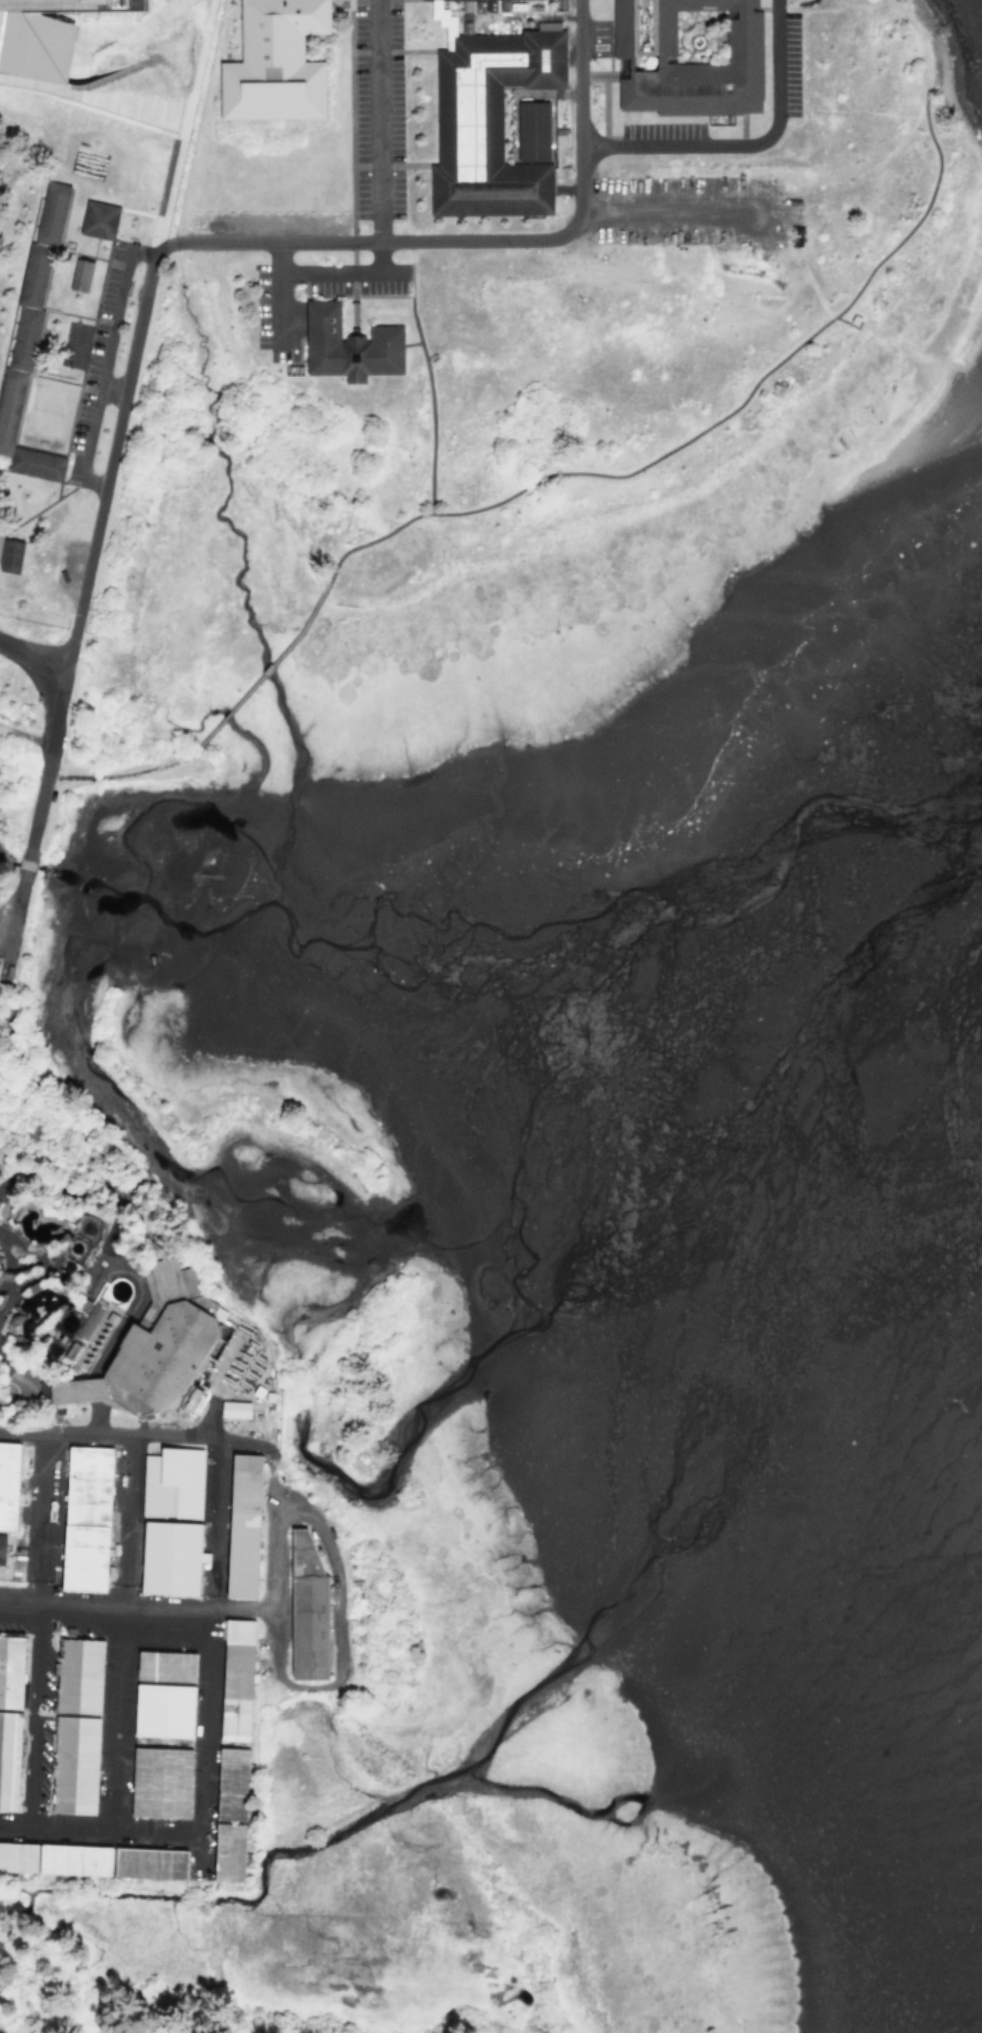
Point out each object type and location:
road: (356, 1)
building: (134, 4)
building: (482, 5)
road: (164, 8)
road: (187, 15)
building: (37, 43)
road: (448, 48)
road: (409, 49)
road: (63, 58)
building: (686, 60)
building: (267, 63)
parking lot: (378, 108)
road: (185, 111)
road: (377, 120)
building: (490, 122)
road: (181, 126)
building: (530, 131)
building: (556, 136)
road: (744, 142)
road: (348, 167)
parking lot: (692, 209)
building: (51, 213)
road: (139, 213)
building: (97, 219)
road: (487, 240)
road: (345, 273)
building: (79, 274)
building: (33, 275)
road: (277, 292)
parking lot: (277, 327)
building: (24, 338)
building: (348, 345)
road: (104, 365)
road: (427, 376)
road: (750, 395)
building: (9, 405)
building: (36, 462)
building: (10, 554)
road: (81, 588)
road: (54, 655)
road: (268, 667)
road: (35, 671)
road: (122, 772)
road: (56, 1082)
road: (56, 1185)
road: (135, 1214)
road: (26, 1247)
road: (12, 1274)
road: (42, 1274)
road: (4, 1313)
building: (85, 1321)
building: (155, 1341)
road: (22, 1378)
building: (70, 1390)
building: (230, 1409)
road: (107, 1432)
building: (167, 1482)
building: (6, 1485)
building: (84, 1517)
building: (238, 1526)
building: (0, 1536)
building: (165, 1558)
road: (240, 1607)
building: (301, 1608)
road: (103, 1613)
road: (36, 1627)
road: (115, 1631)
road: (207, 1648)
building: (140, 1666)
building: (8, 1670)
road: (276, 1674)
building: (76, 1676)
building: (233, 1681)
building: (159, 1710)
building: (7, 1759)
building: (73, 1765)
building: (158, 1782)
building: (227, 1784)
road: (101, 1829)
building: (223, 1852)

